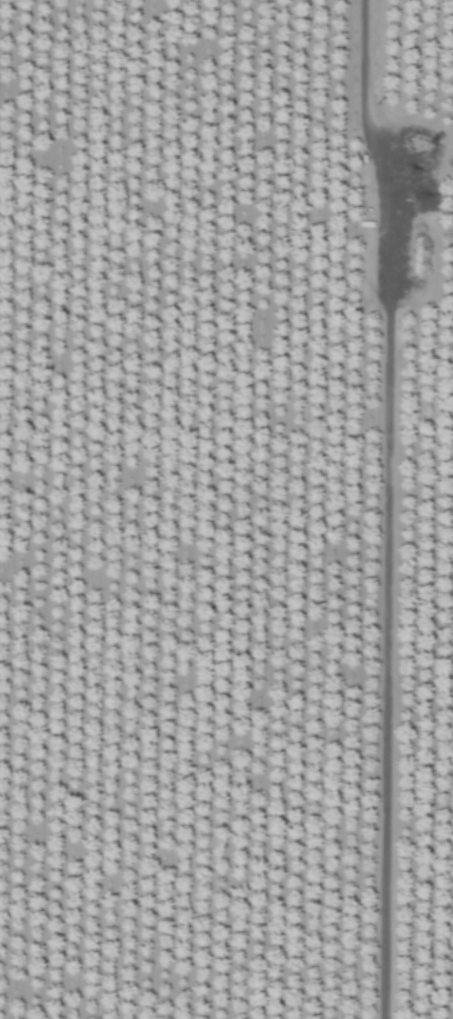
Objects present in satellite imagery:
road: (365, 59)

